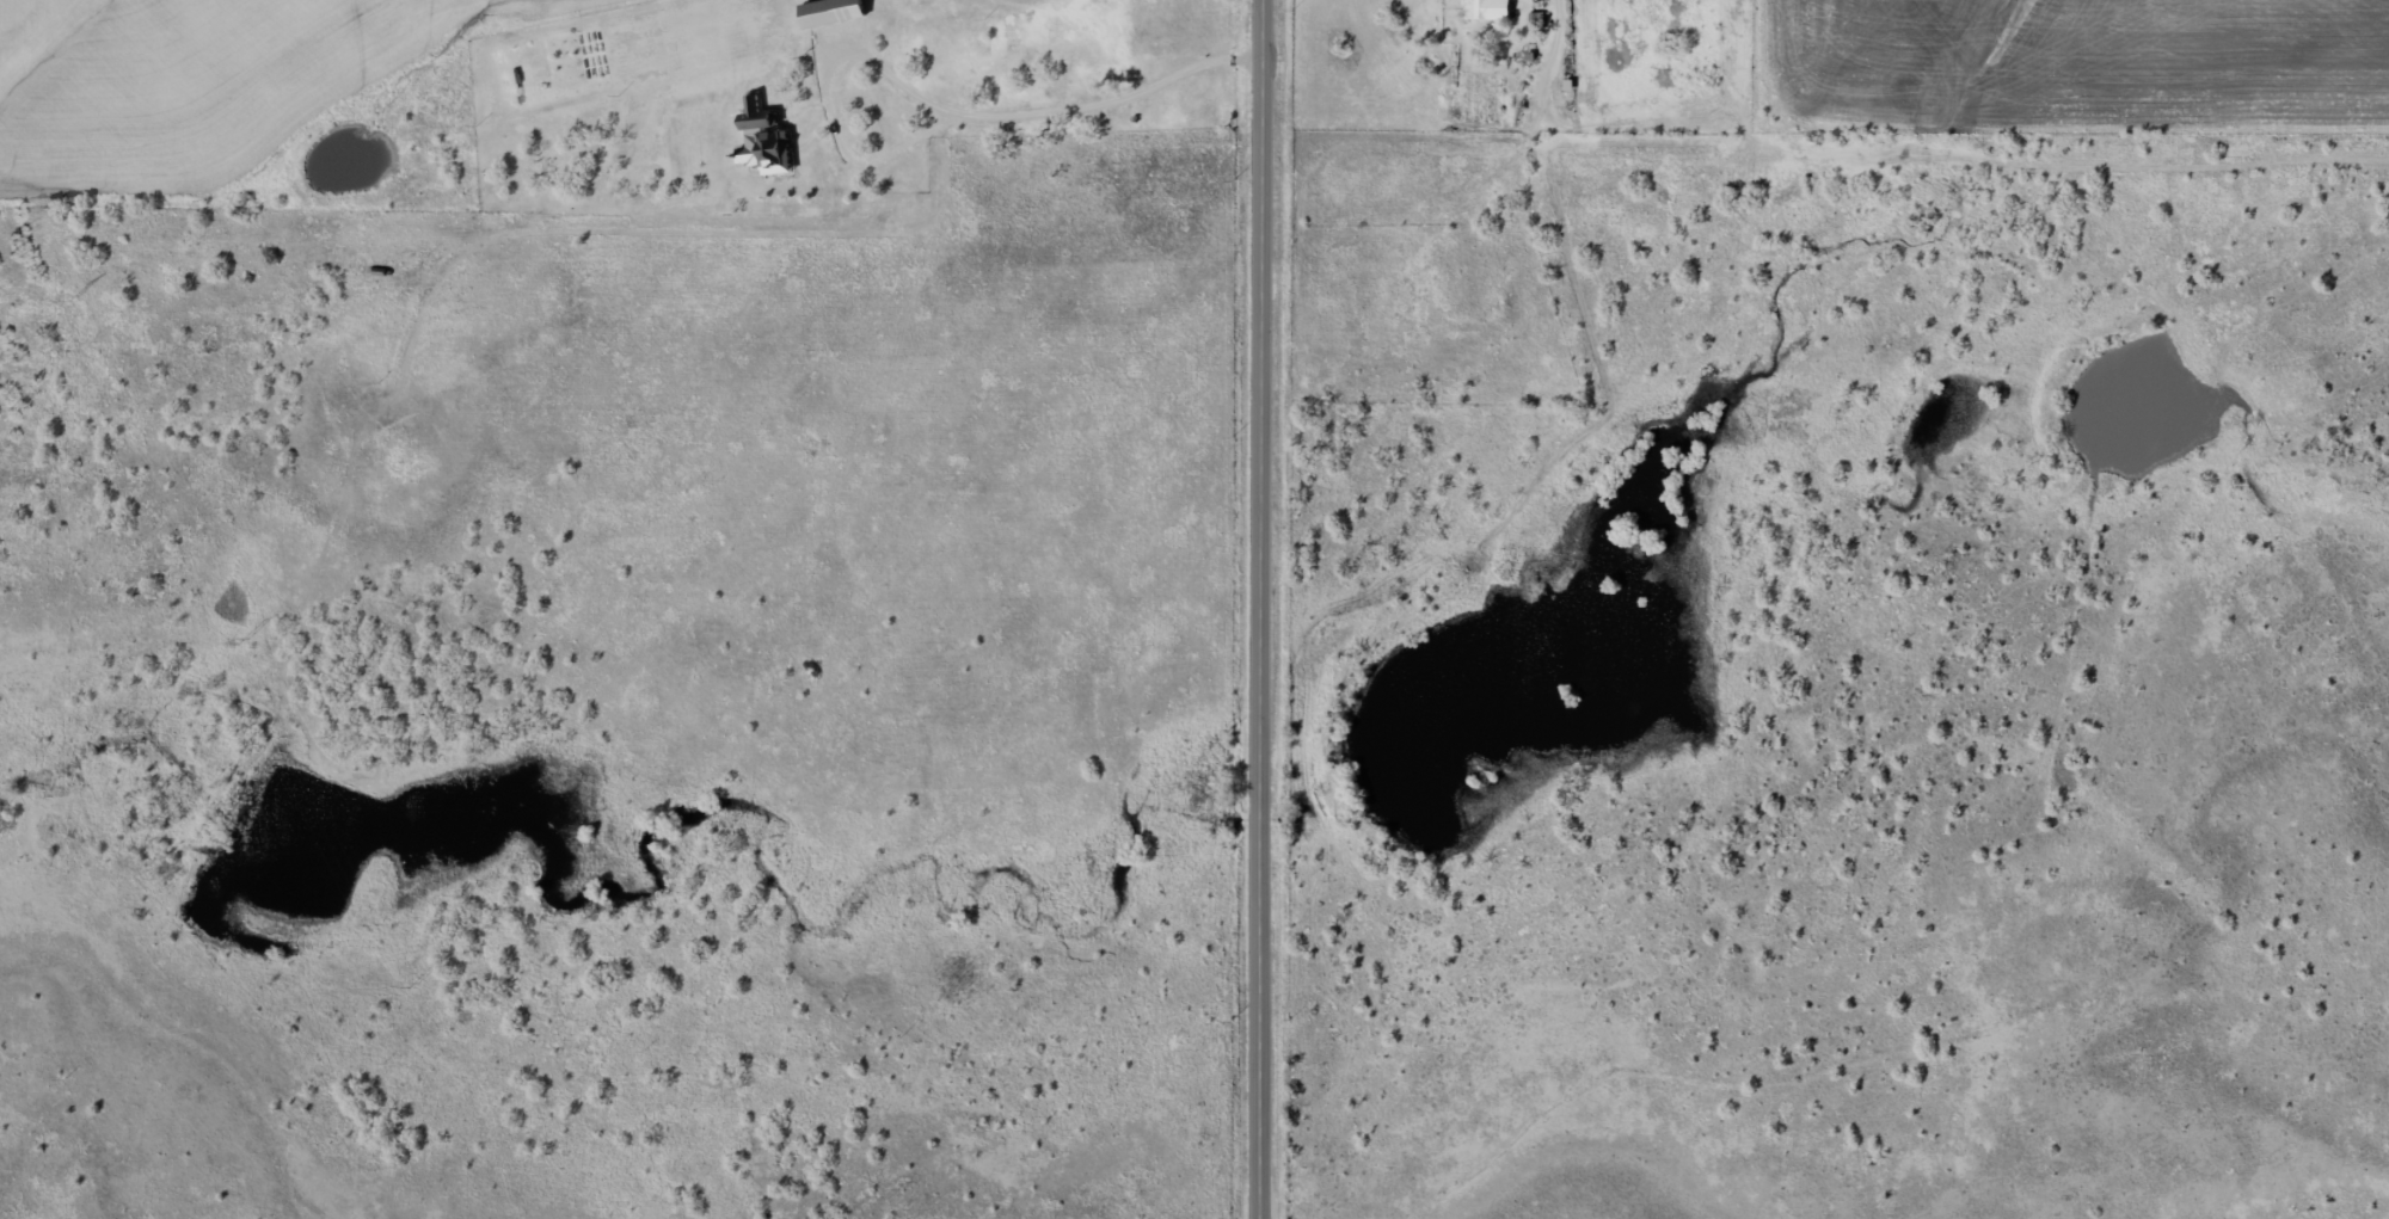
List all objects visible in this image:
building: (1486, 10)
building: (831, 12)
building: (1534, 19)
building: (768, 142)
power tower: (74, 294)
road: (1265, 609)
power tower: (245, 636)
power tower: (413, 979)

